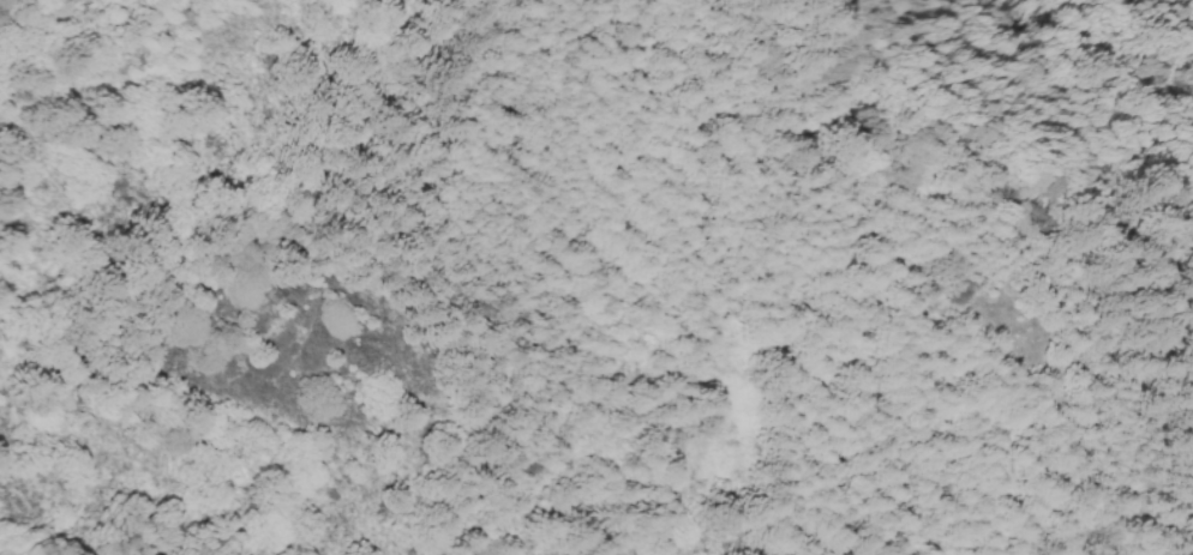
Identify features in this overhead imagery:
road: (820, 210)

